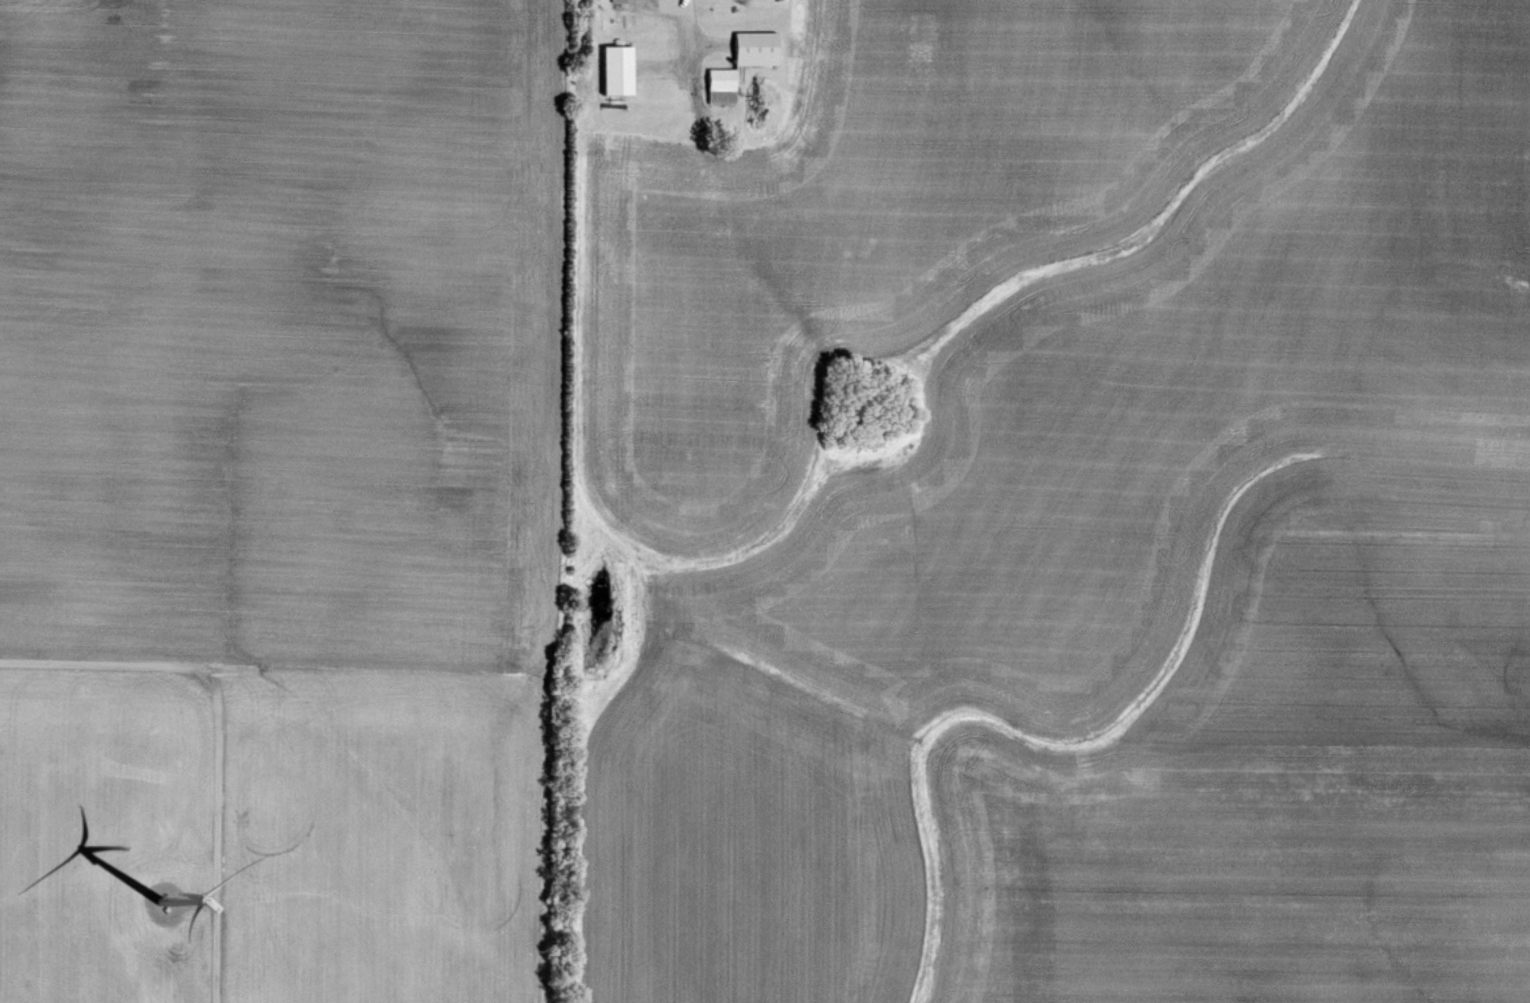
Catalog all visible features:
road: (689, 36)
road: (217, 724)
wind turbine: (158, 895)

